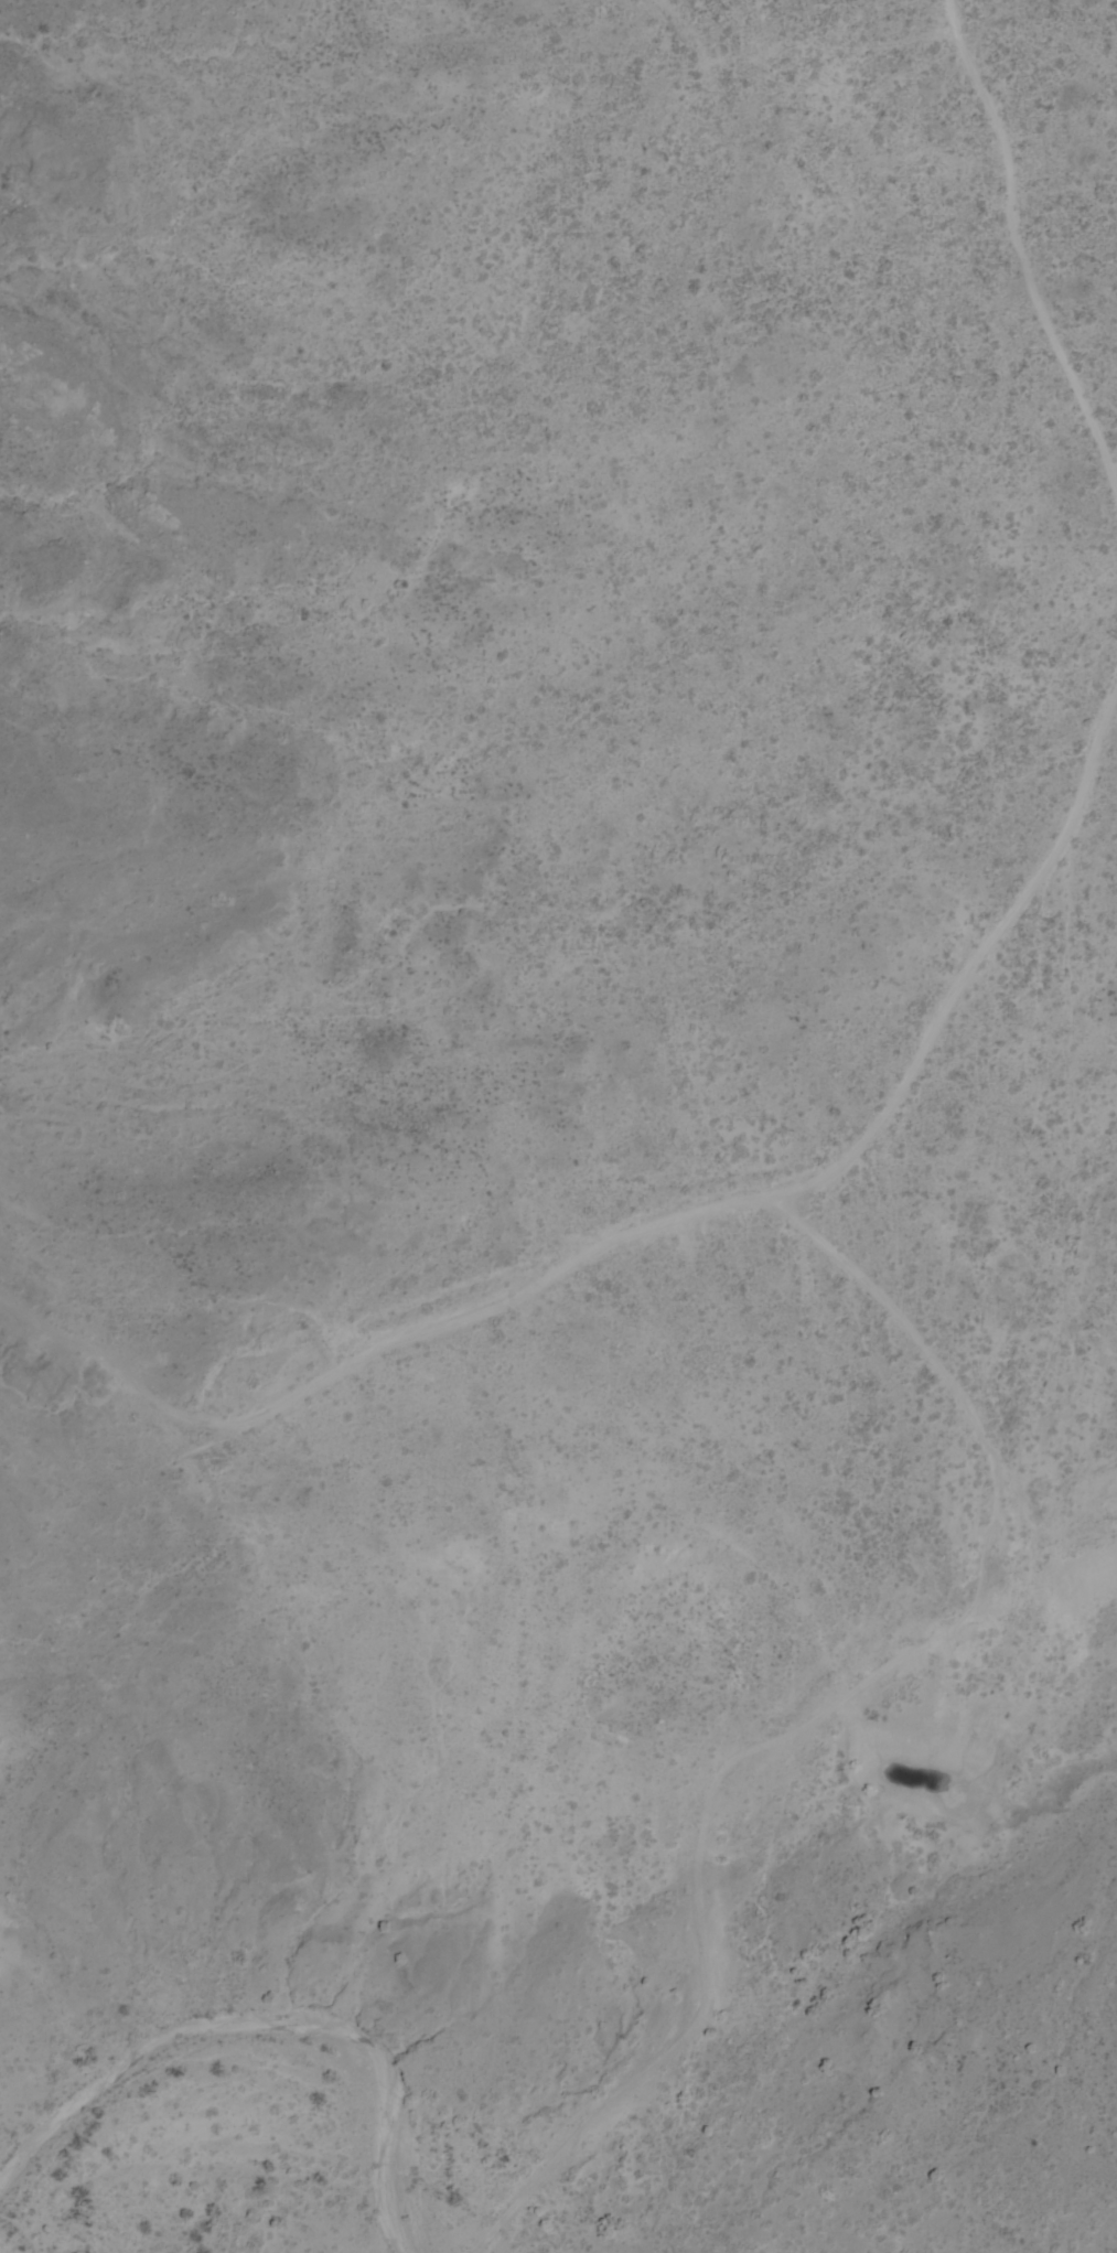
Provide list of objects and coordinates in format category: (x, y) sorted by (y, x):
road: (676, 1201)

